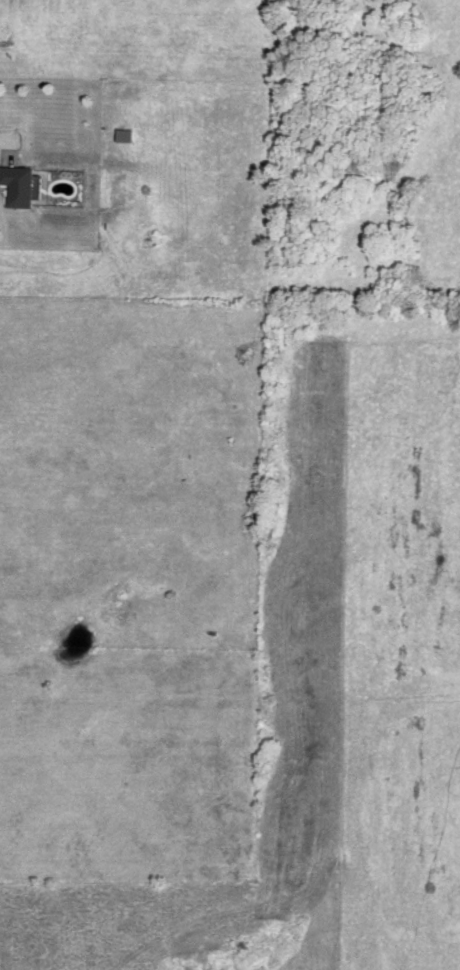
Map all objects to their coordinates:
road: (1, 141)
building: (16, 187)

